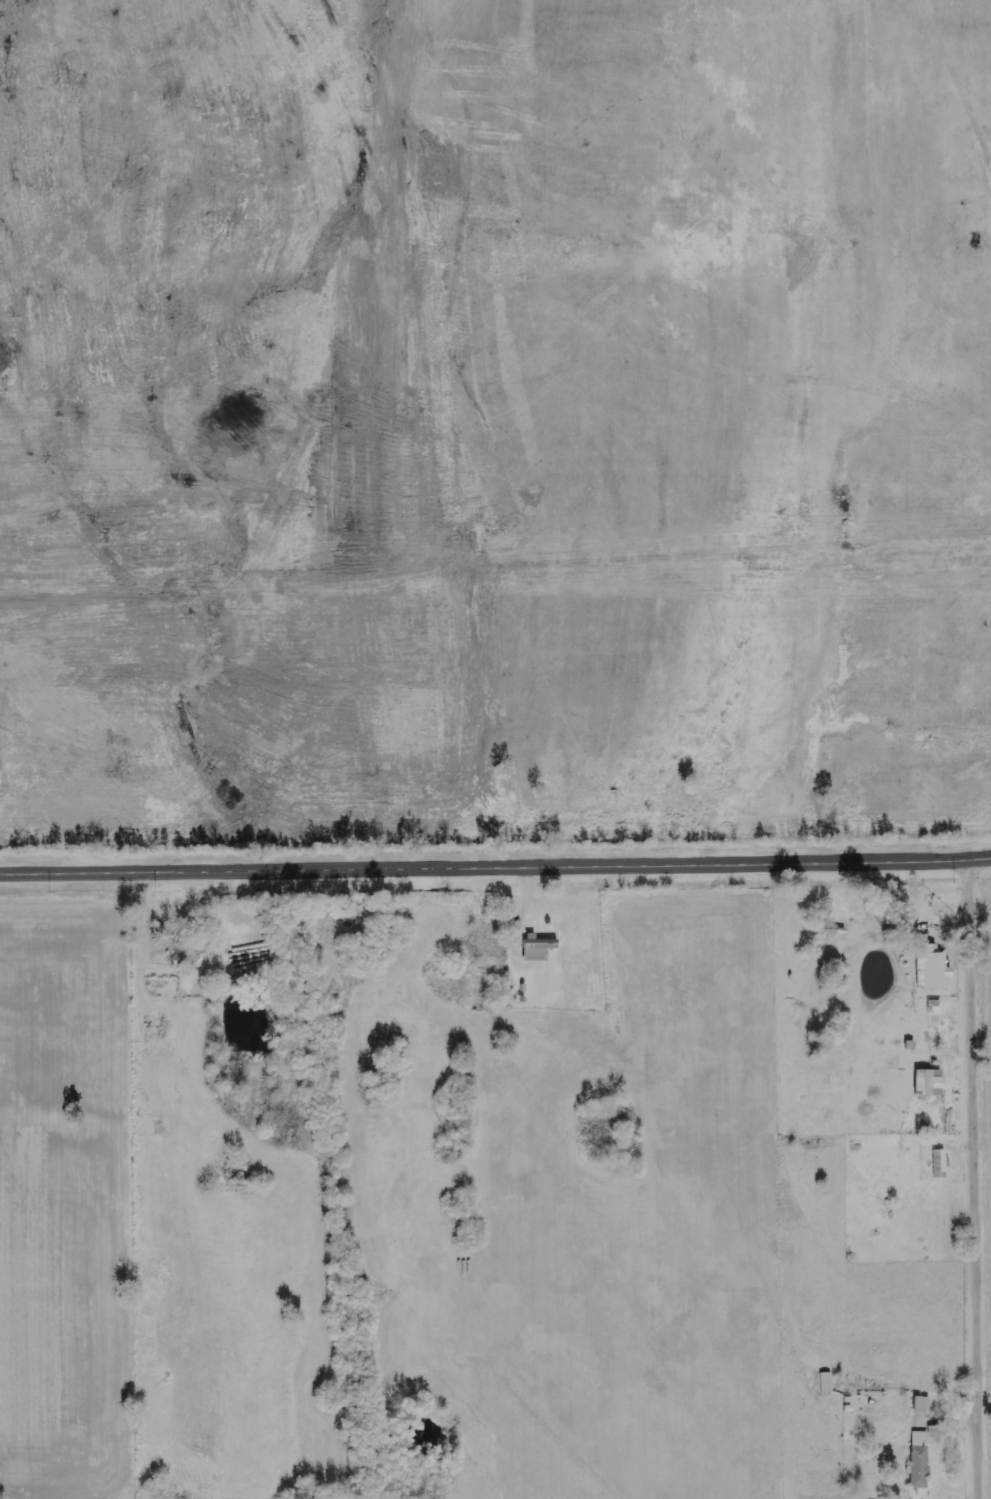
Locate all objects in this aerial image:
road: (495, 870)
building: (830, 930)
building: (541, 948)
building: (934, 968)
building: (937, 1007)
building: (930, 1083)
building: (942, 1164)
road: (973, 1181)
building: (922, 1460)

